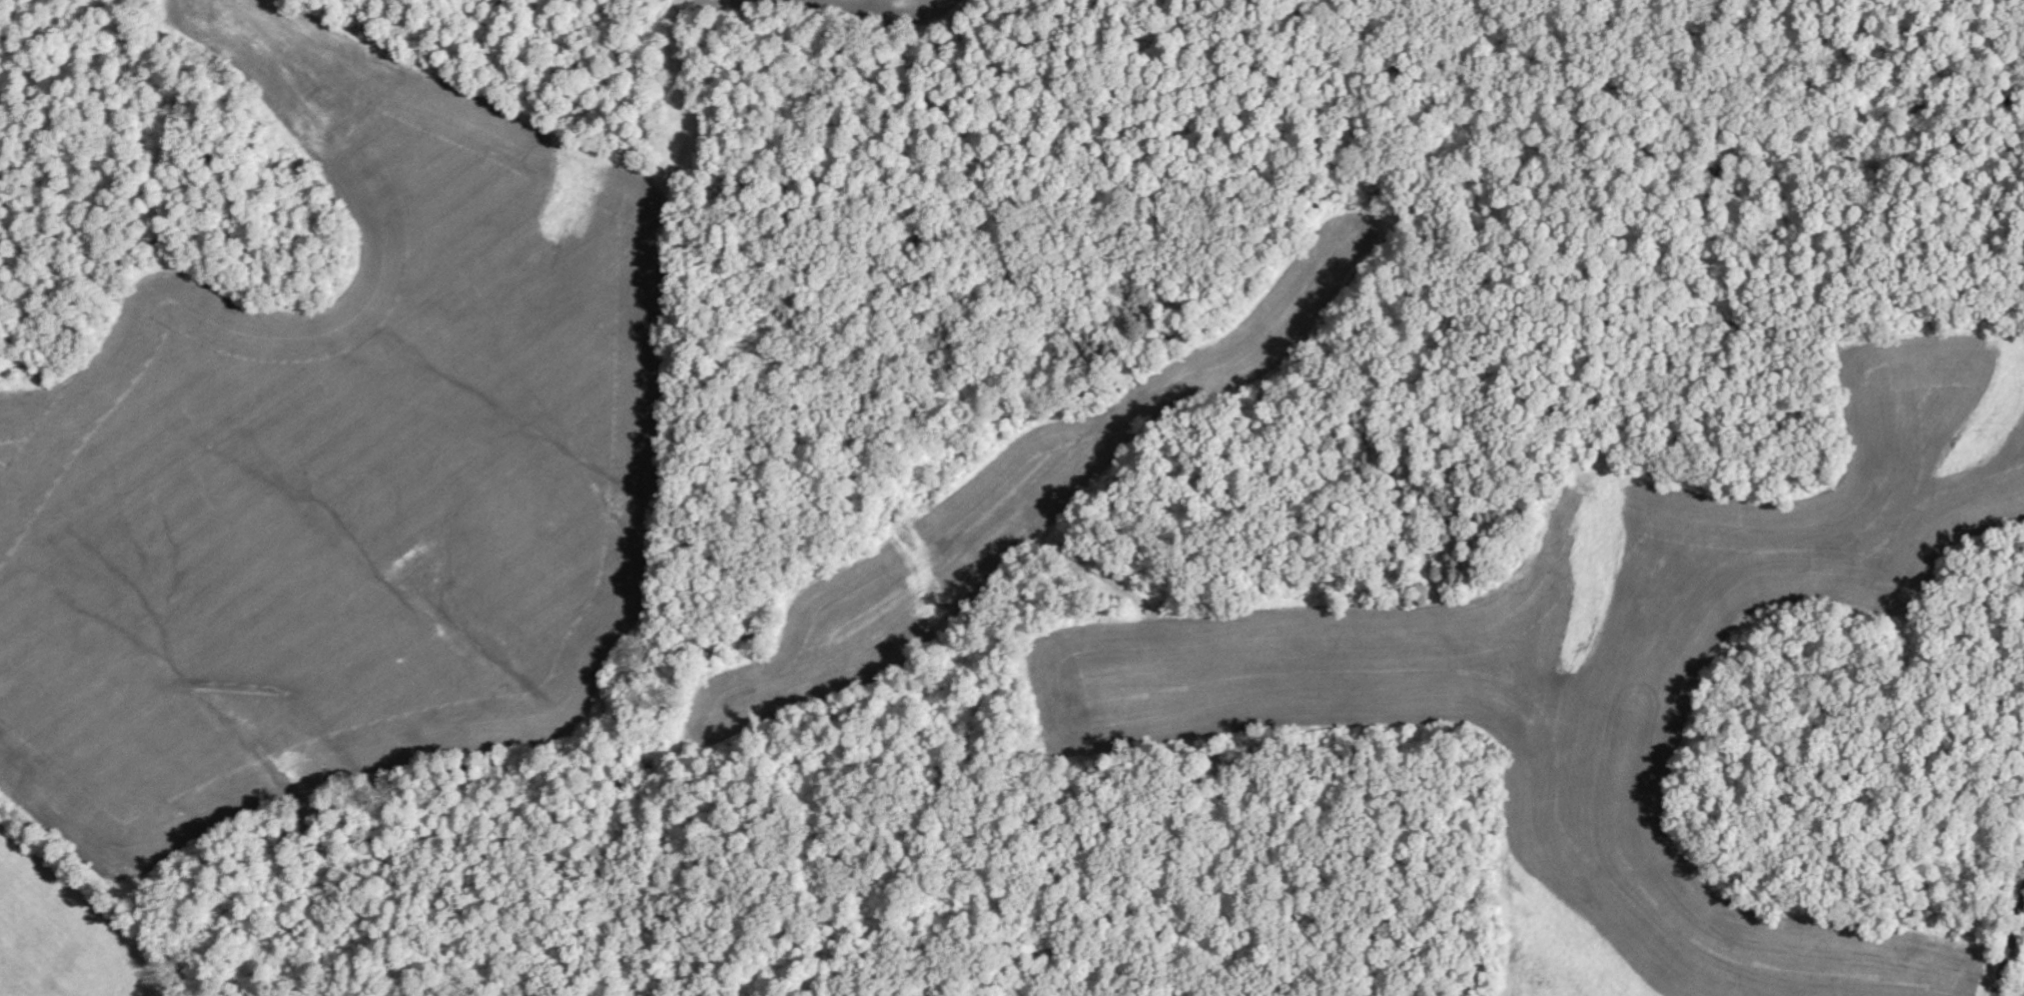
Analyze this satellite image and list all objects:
road: (2011, 952)

